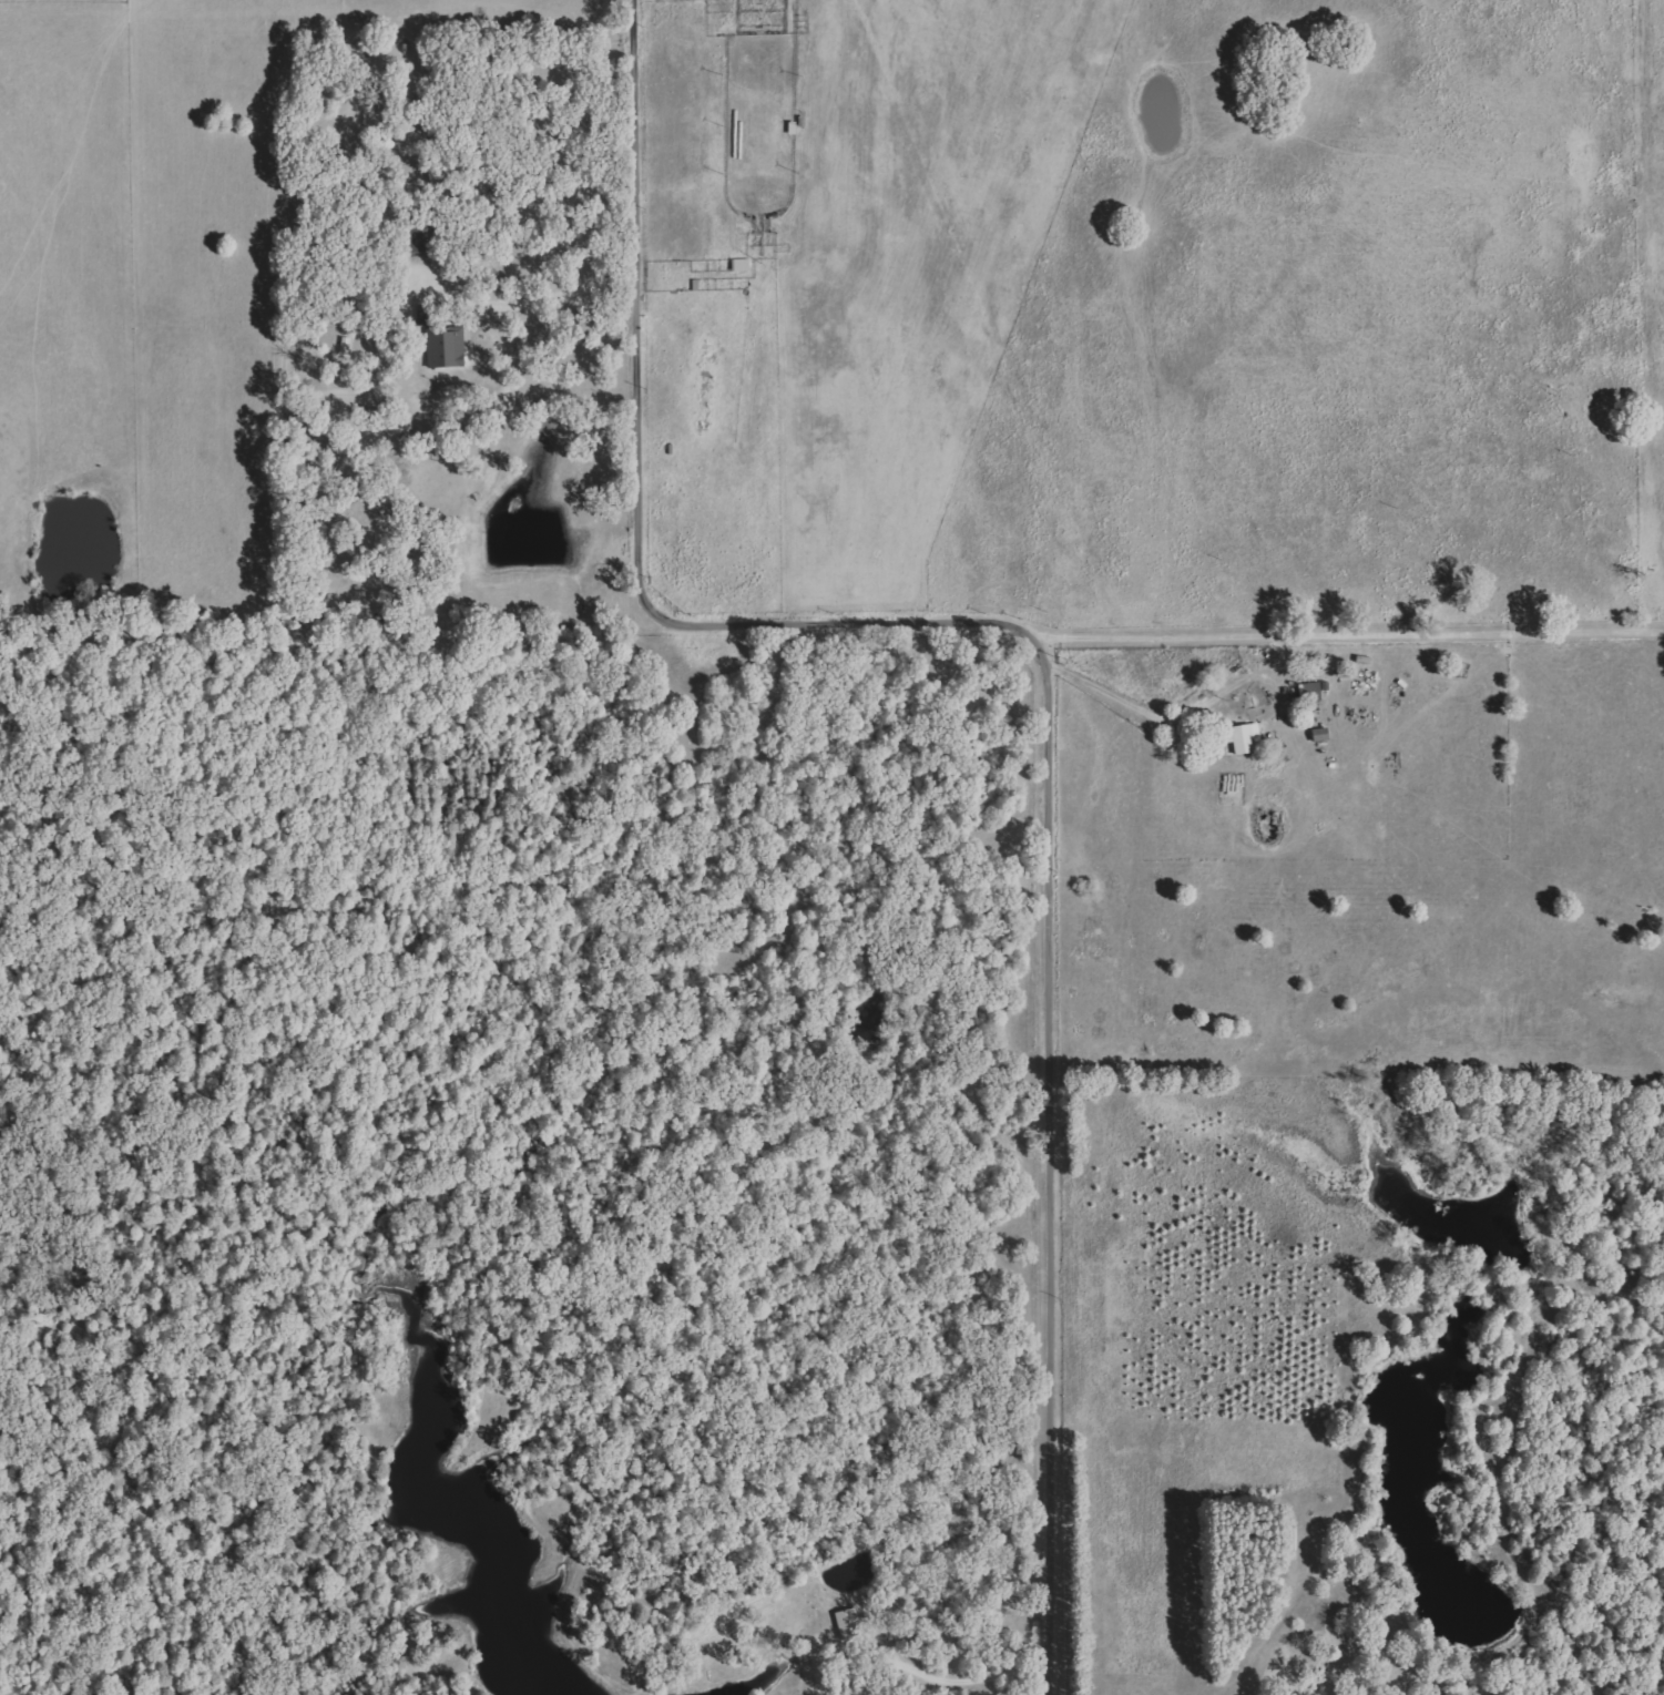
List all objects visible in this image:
building: (429, 316)
building: (448, 348)
road: (1045, 663)
building: (1325, 735)
building: (1249, 738)
road: (937, 1681)

